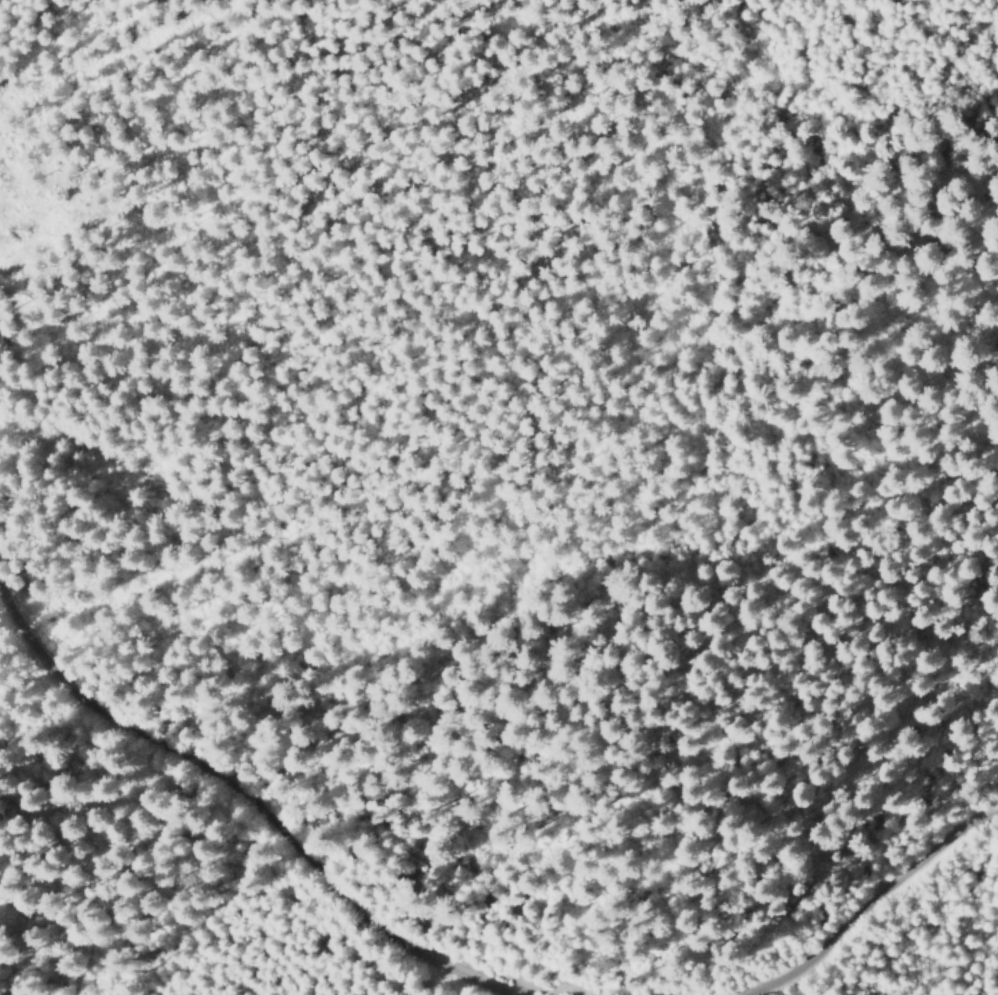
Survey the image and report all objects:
road: (251, 802)
road: (868, 894)

